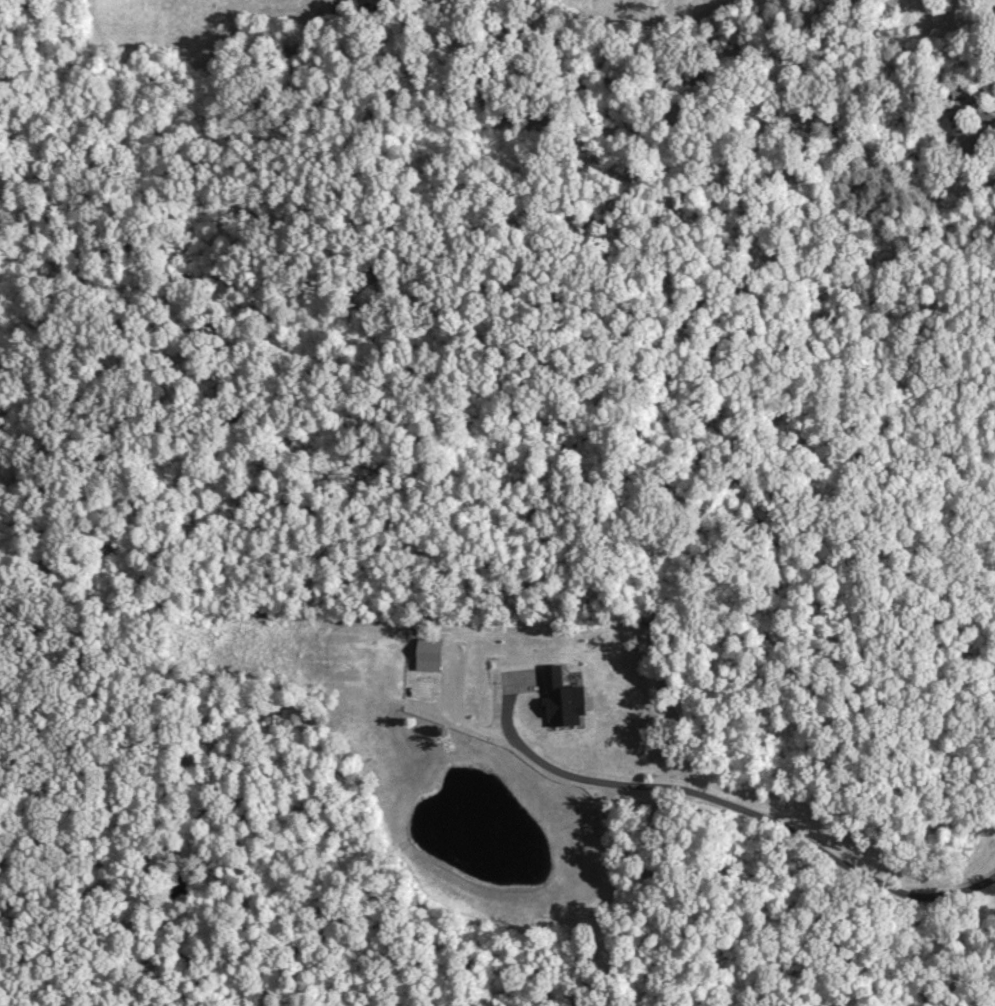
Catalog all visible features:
building: (949, 0)
building: (958, 86)
building: (967, 148)
road: (727, 795)

